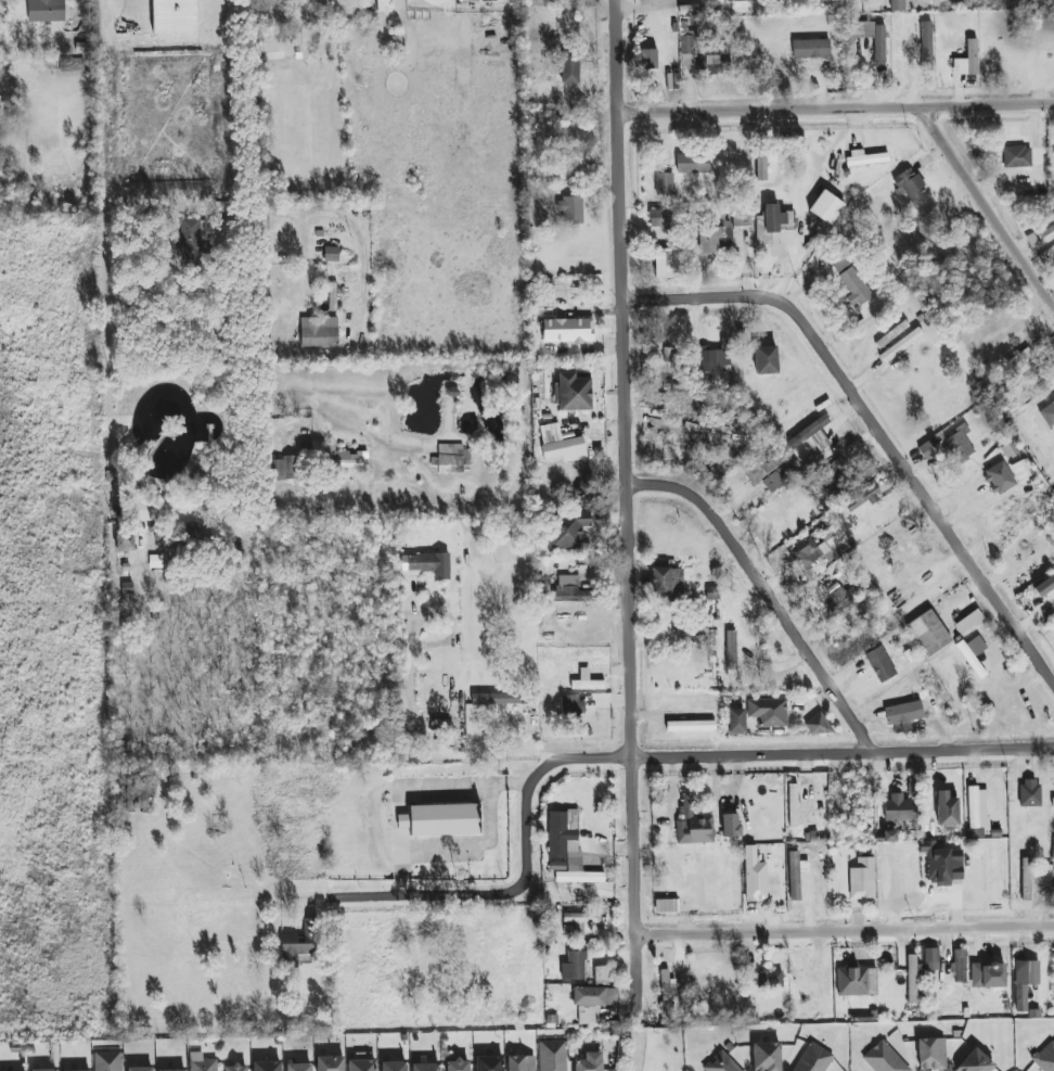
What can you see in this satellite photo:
building: (383, 4)
building: (897, 4)
building: (46, 11)
building: (175, 16)
building: (926, 46)
building: (811, 48)
building: (879, 49)
building: (704, 54)
building: (967, 60)
building: (570, 67)
road: (784, 105)
building: (1017, 156)
building: (865, 157)
building: (692, 163)
building: (766, 165)
building: (664, 183)
building: (910, 186)
road: (988, 201)
building: (826, 207)
building: (570, 209)
road: (256, 218)
building: (656, 218)
building: (772, 225)
building: (1046, 228)
road: (303, 233)
building: (714, 238)
building: (194, 241)
road: (360, 241)
building: (332, 254)
building: (664, 263)
building: (854, 288)
building: (332, 296)
building: (567, 330)
building: (319, 331)
building: (891, 334)
building: (901, 345)
building: (1023, 358)
building: (715, 359)
building: (766, 360)
building: (573, 393)
building: (1051, 407)
road: (877, 418)
building: (811, 436)
building: (960, 443)
building: (561, 444)
building: (928, 448)
building: (453, 456)
building: (349, 460)
building: (761, 468)
building: (283, 469)
building: (999, 477)
building: (774, 481)
building: (863, 498)
road: (631, 505)
building: (568, 530)
building: (124, 539)
building: (815, 549)
building: (426, 564)
building: (666, 578)
road: (775, 587)
building: (1044, 587)
building: (571, 590)
building: (841, 599)
building: (968, 621)
building: (929, 633)
building: (731, 650)
building: (881, 664)
road: (409, 681)
building: (586, 681)
building: (496, 699)
building: (571, 706)
building: (768, 712)
building: (903, 715)
building: (735, 721)
building: (440, 724)
building: (817, 725)
building: (691, 726)
road: (686, 752)
road: (506, 754)
building: (1030, 792)
building: (793, 795)
building: (1053, 802)
building: (978, 807)
building: (900, 808)
building: (947, 809)
building: (440, 819)
building: (693, 825)
building: (730, 825)
building: (975, 833)
building: (889, 836)
building: (567, 849)
building: (1052, 859)
building: (941, 864)
building: (796, 875)
building: (754, 876)
building: (862, 879)
building: (1026, 879)
road: (301, 898)
building: (666, 906)
building: (581, 921)
road: (847, 929)
building: (298, 944)
building: (931, 959)
building: (960, 965)
building: (574, 966)
building: (602, 974)
building: (988, 974)
building: (770, 979)
building: (912, 980)
building: (857, 981)
building: (1024, 982)
building: (667, 992)
building: (592, 1002)
building: (931, 1054)
road: (635, 1055)
building: (553, 1056)
building: (767, 1057)
building: (1045, 1057)
building: (813, 1059)
building: (884, 1059)
building: (107, 1061)
building: (202, 1062)
building: (589, 1062)
building: (975, 1062)
building: (330, 1063)
building: (489, 1063)
building: (520, 1063)
building: (720, 1063)
building: (267, 1066)
building: (394, 1066)
building: (458, 1066)
building: (299, 1067)
building: (426, 1067)
building: (235, 1068)
building: (140, 1069)
building: (44, 1070)
building: (86, 1070)
building: (173, 1070)

